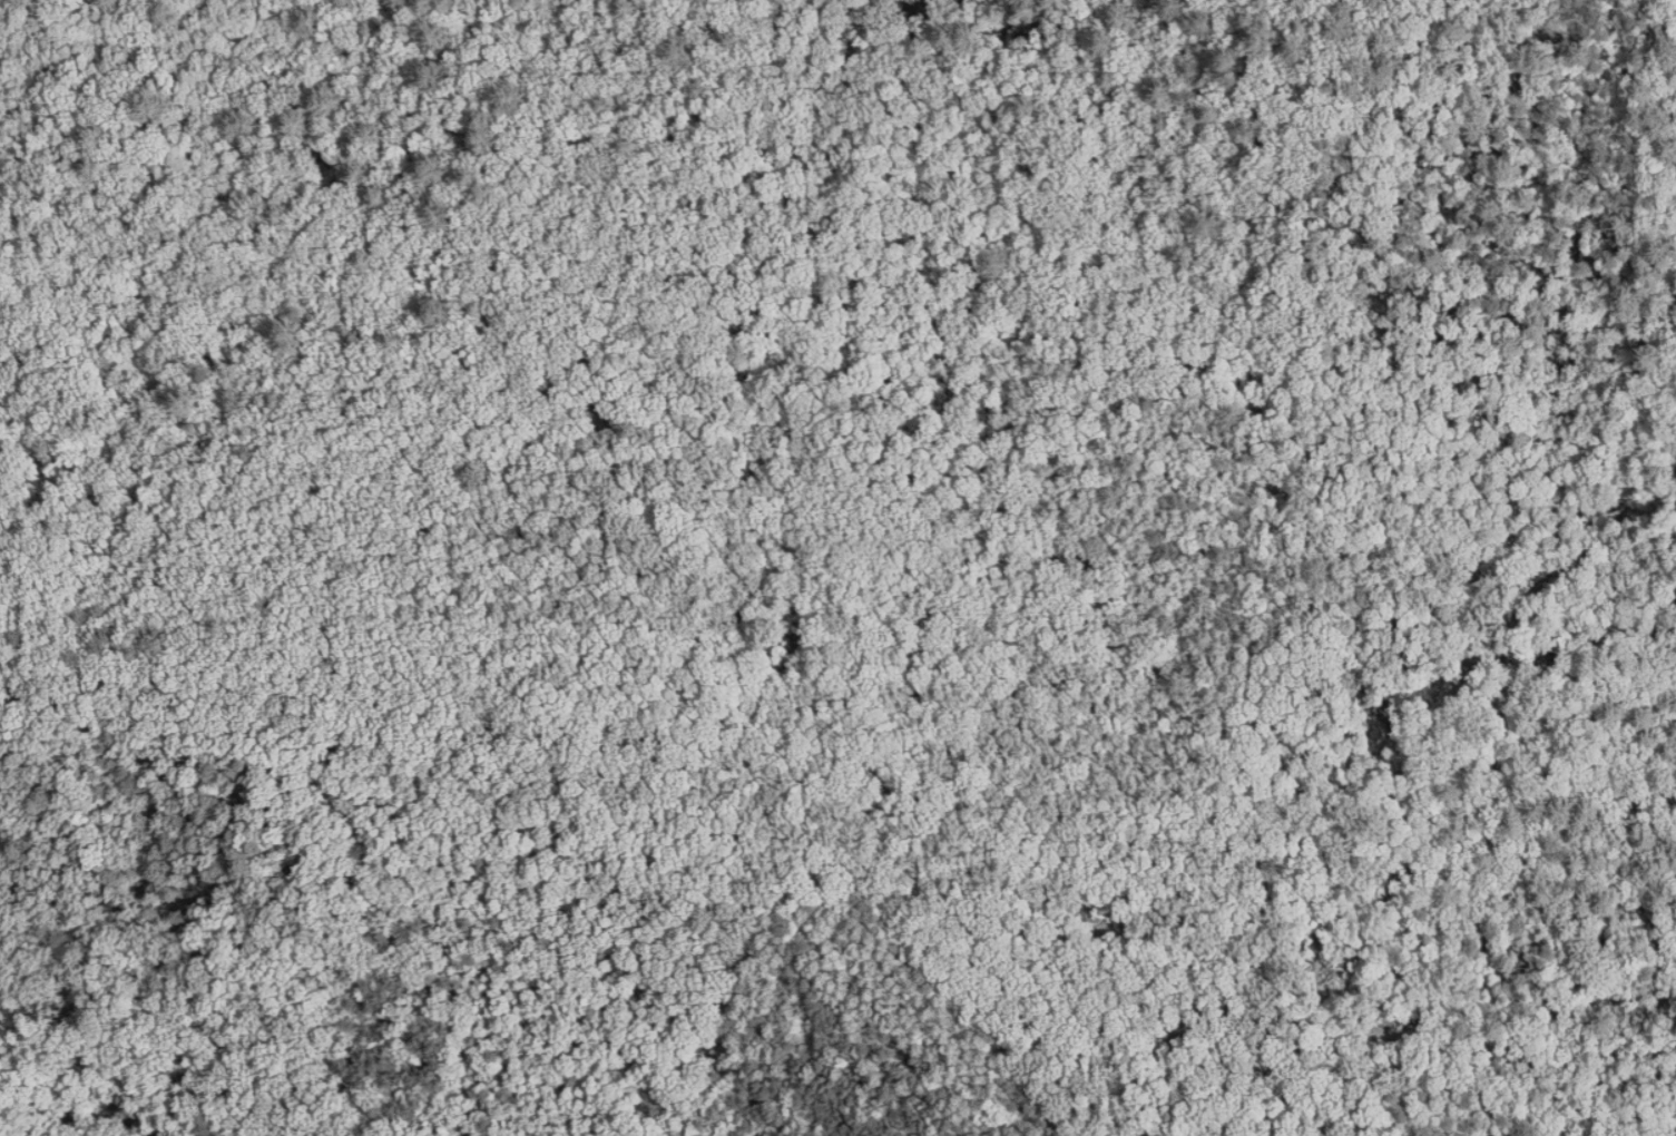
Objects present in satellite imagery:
road: (1669, 13)
road: (1590, 82)
road: (1453, 150)
road: (1557, 394)
road: (1278, 664)
road: (301, 712)
road: (325, 829)
road: (635, 966)
road: (549, 986)
road: (697, 1115)

